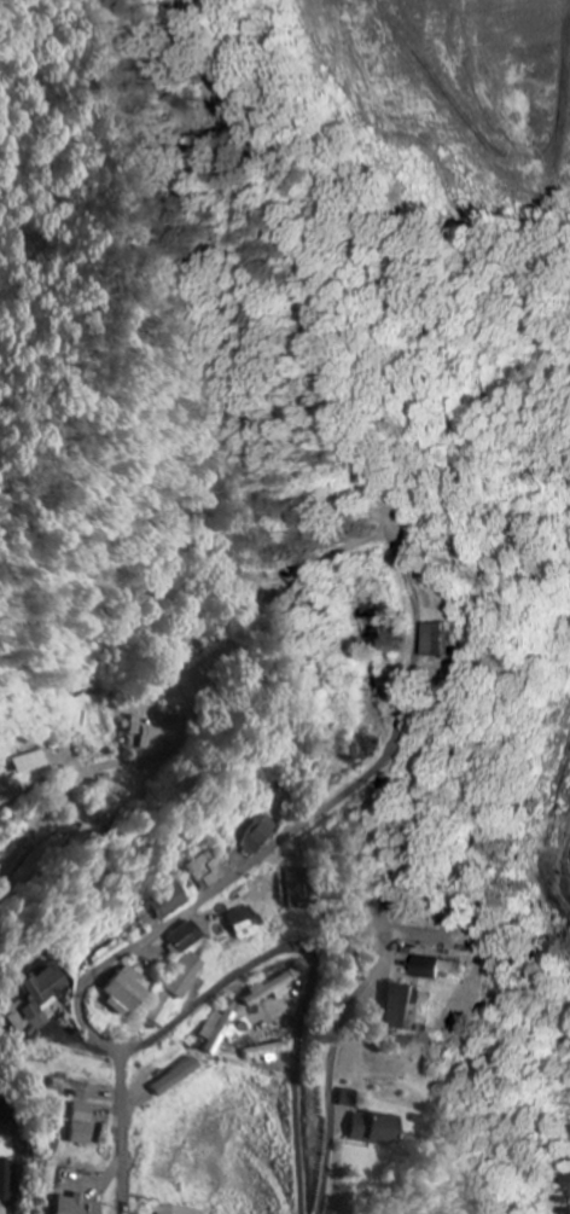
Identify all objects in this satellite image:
road: (203, 156)
road: (330, 453)
building: (272, 599)
building: (442, 640)
building: (135, 732)
building: (153, 740)
building: (34, 762)
building: (7, 795)
road: (36, 824)
building: (258, 836)
building: (41, 859)
building: (207, 871)
road: (240, 871)
building: (297, 889)
building: (169, 902)
building: (245, 924)
building: (185, 939)
building: (432, 969)
road: (318, 975)
building: (185, 977)
building: (273, 989)
building: (126, 992)
building: (37, 1001)
building: (403, 1007)
building: (159, 1011)
building: (219, 1032)
building: (268, 1052)
building: (176, 1078)
building: (72, 1087)
road: (330, 1087)
building: (349, 1099)
building: (2, 1116)
building: (83, 1125)
building: (377, 1129)
road: (122, 1131)
building: (7, 1181)
building: (78, 1206)
building: (178, 1212)

